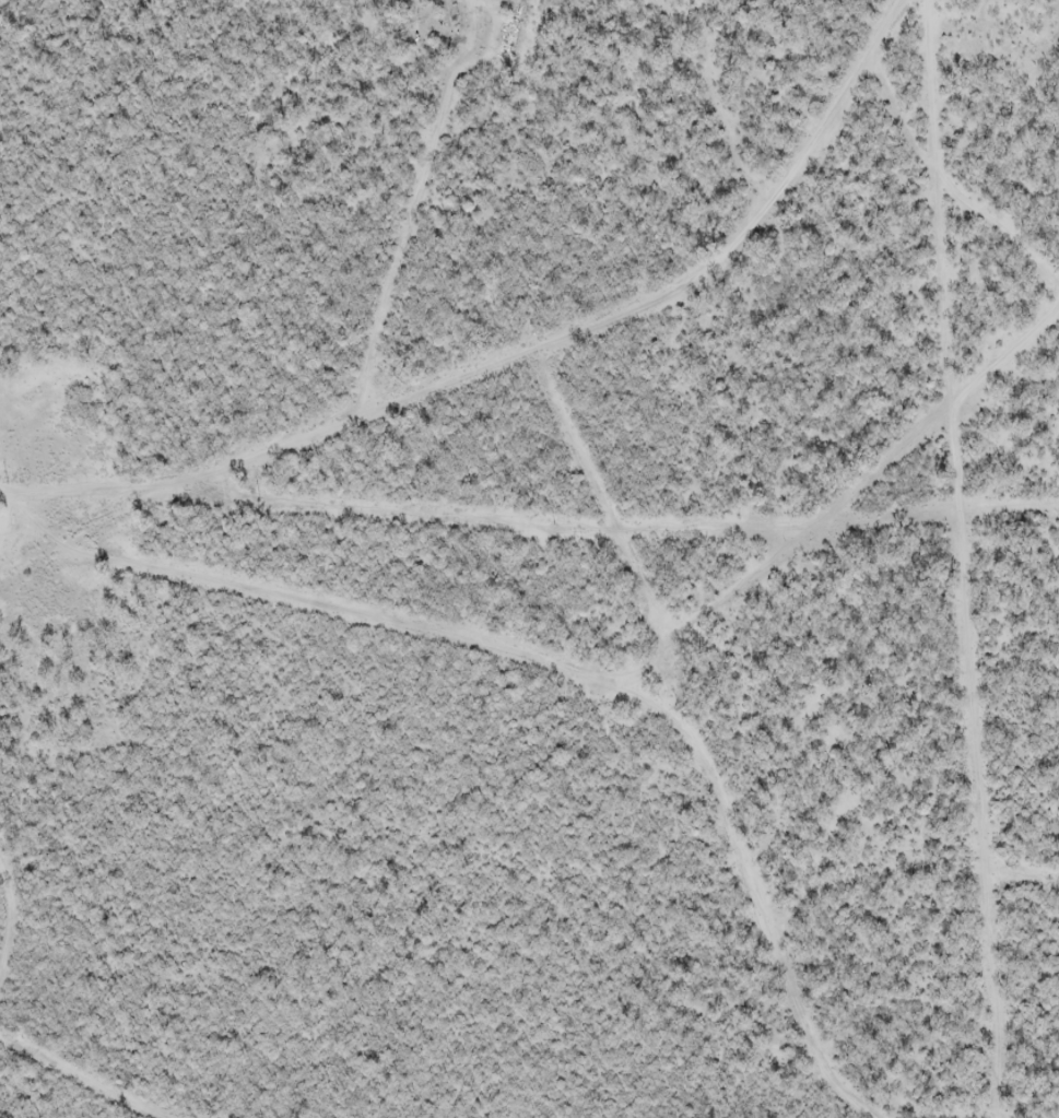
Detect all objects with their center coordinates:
road: (519, 355)

